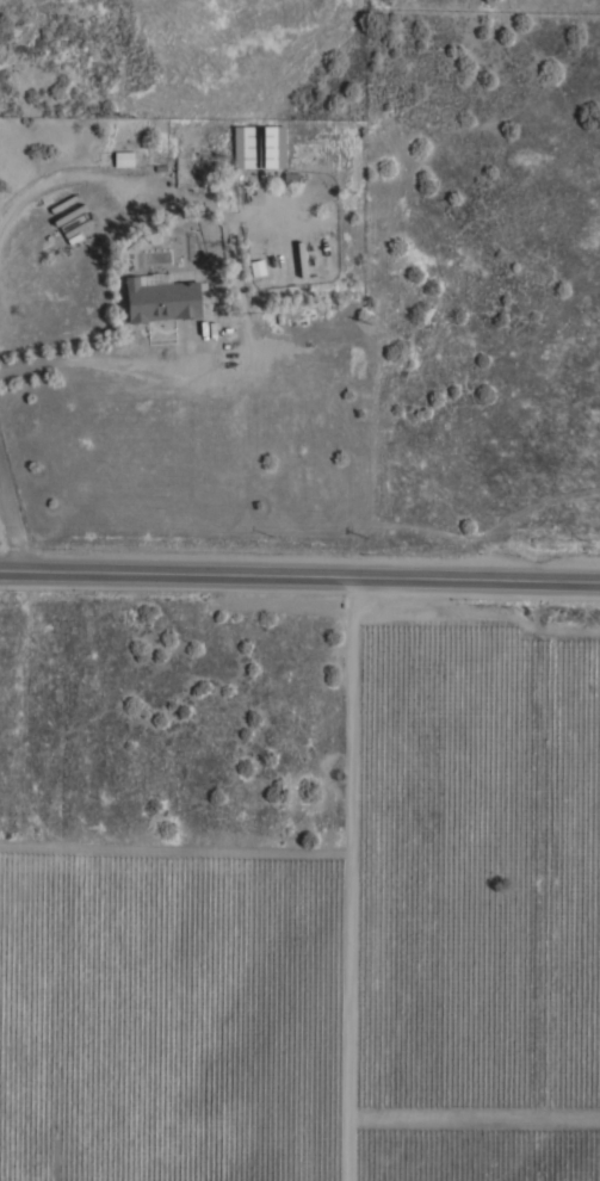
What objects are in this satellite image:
building: (256, 147)
building: (122, 161)
road: (63, 178)
building: (72, 227)
building: (255, 267)
building: (159, 298)
road: (94, 364)
road: (10, 533)
road: (299, 577)
road: (348, 879)
road: (474, 1115)

